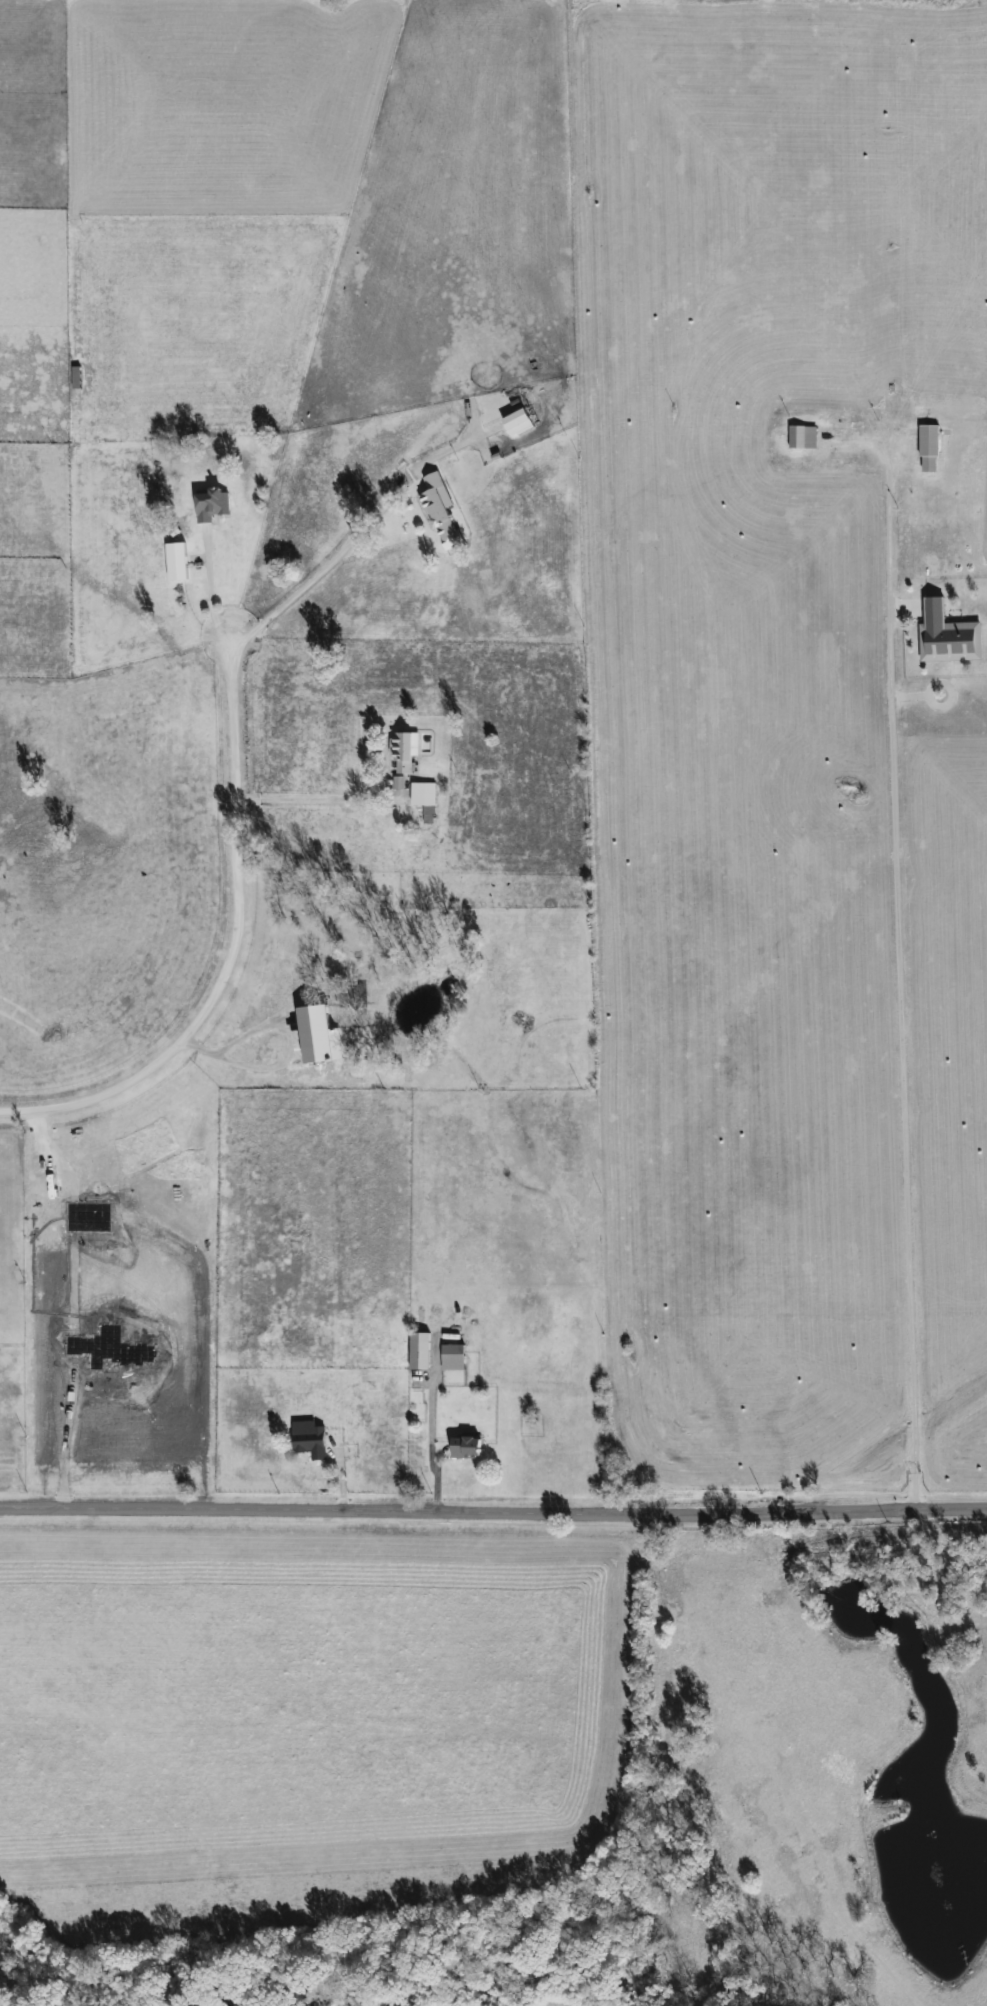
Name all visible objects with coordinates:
building: (74, 378)
building: (515, 422)
building: (801, 437)
building: (927, 448)
building: (209, 504)
building: (434, 508)
road: (354, 539)
road: (211, 589)
building: (946, 635)
building: (402, 751)
road: (312, 799)
building: (423, 799)
road: (231, 945)
road: (893, 988)
road: (282, 1060)
building: (418, 1351)
building: (451, 1357)
building: (373, 1378)
building: (530, 1419)
building: (308, 1441)
road: (432, 1446)
building: (464, 1447)
road: (493, 1518)
road: (603, 1761)

